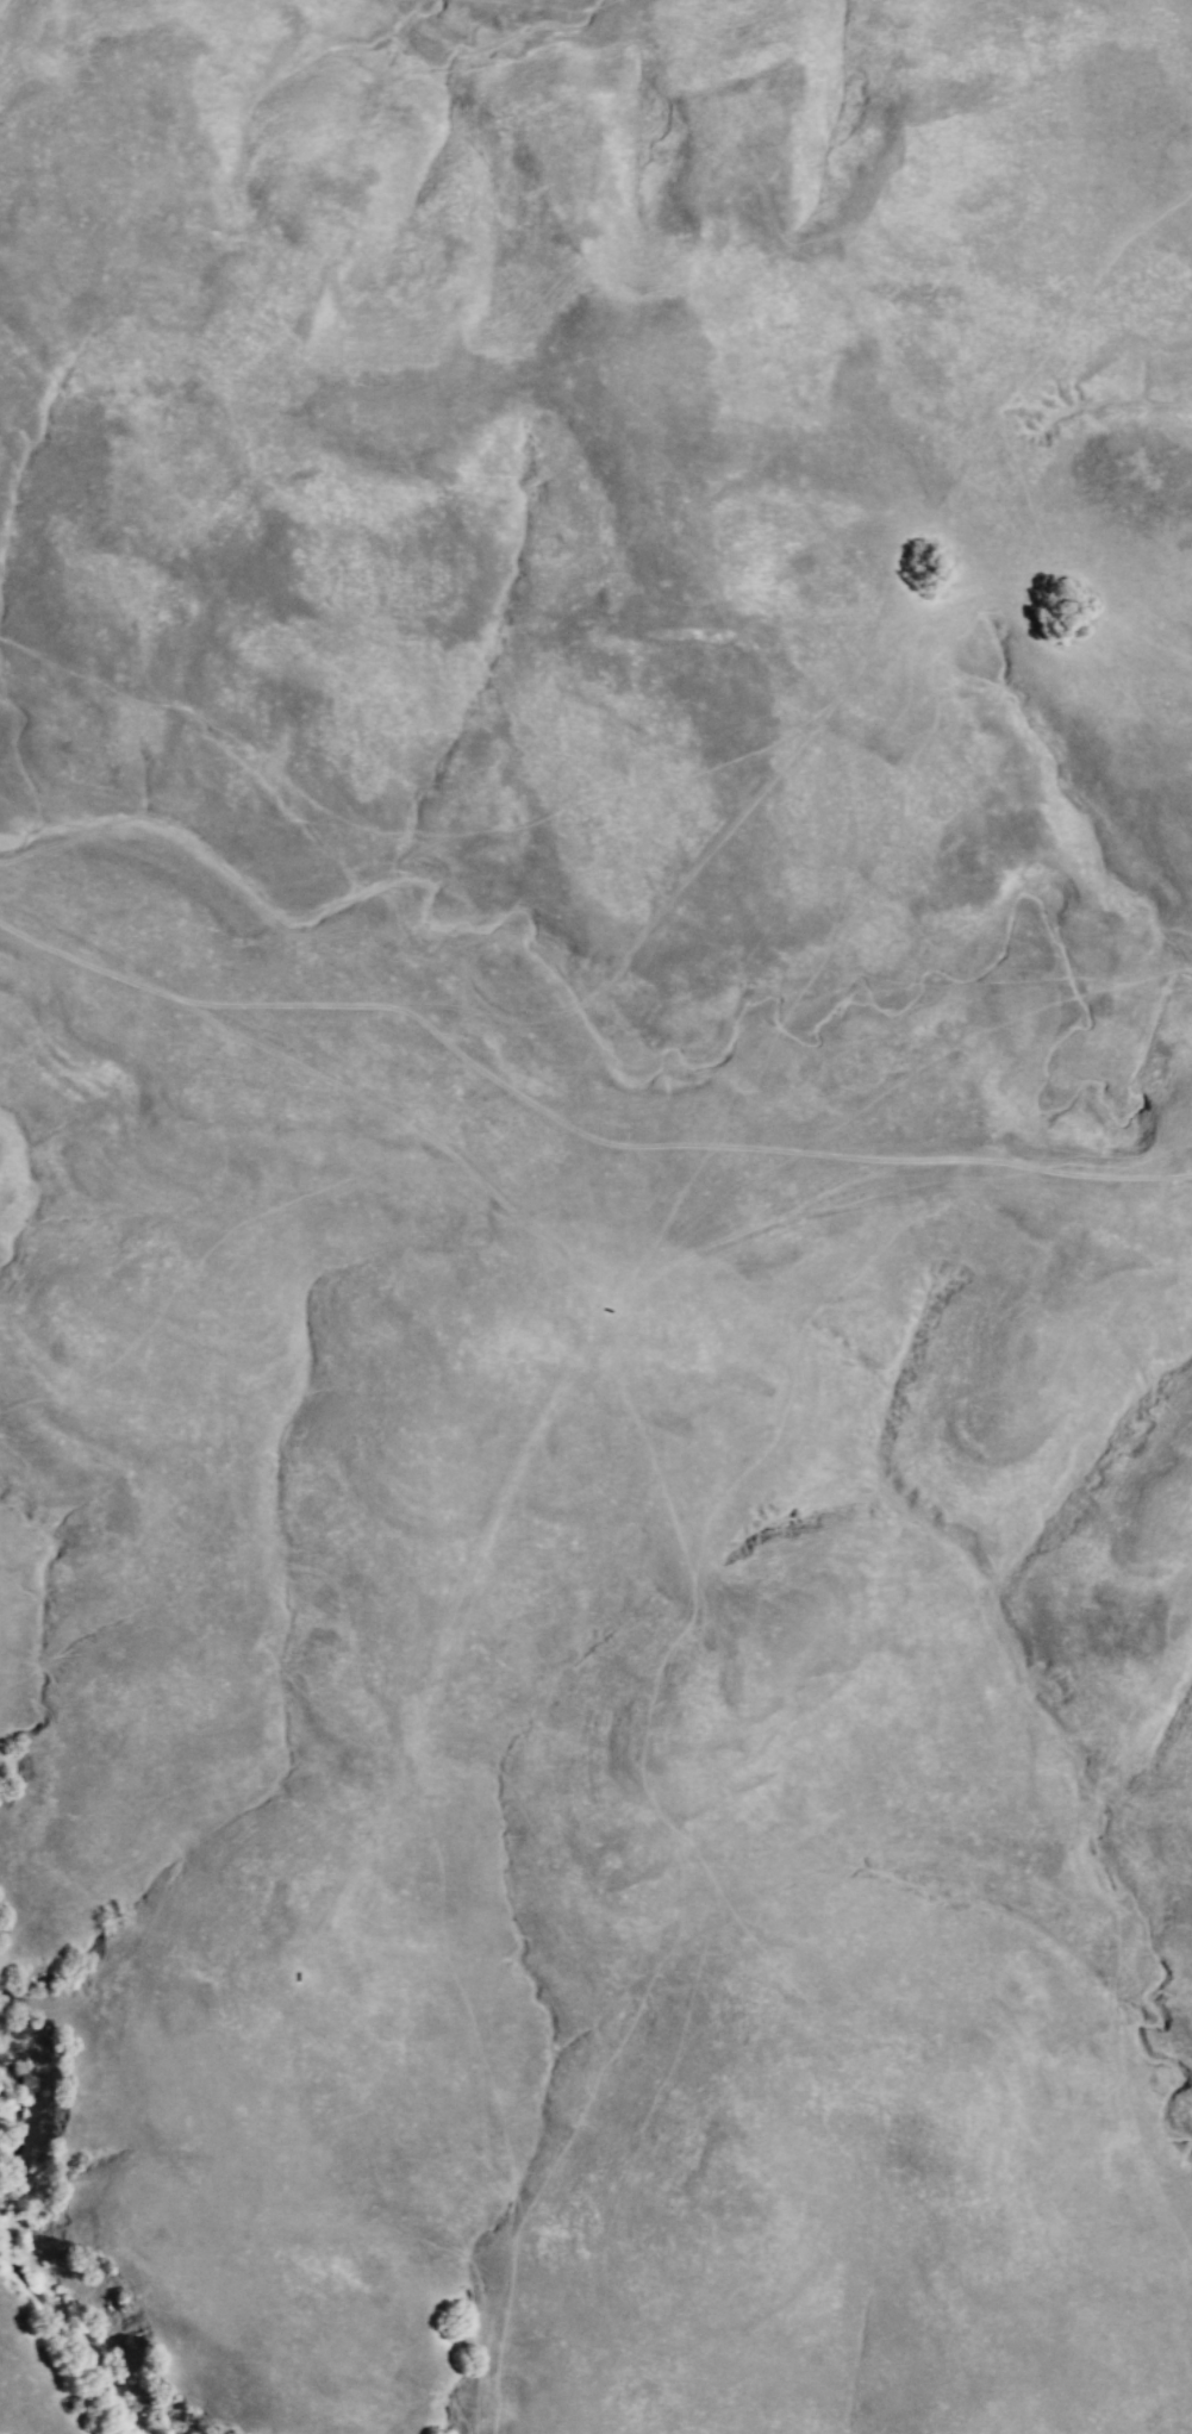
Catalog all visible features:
road: (572, 1125)
river: (8, 2123)
river: (69, 2335)

